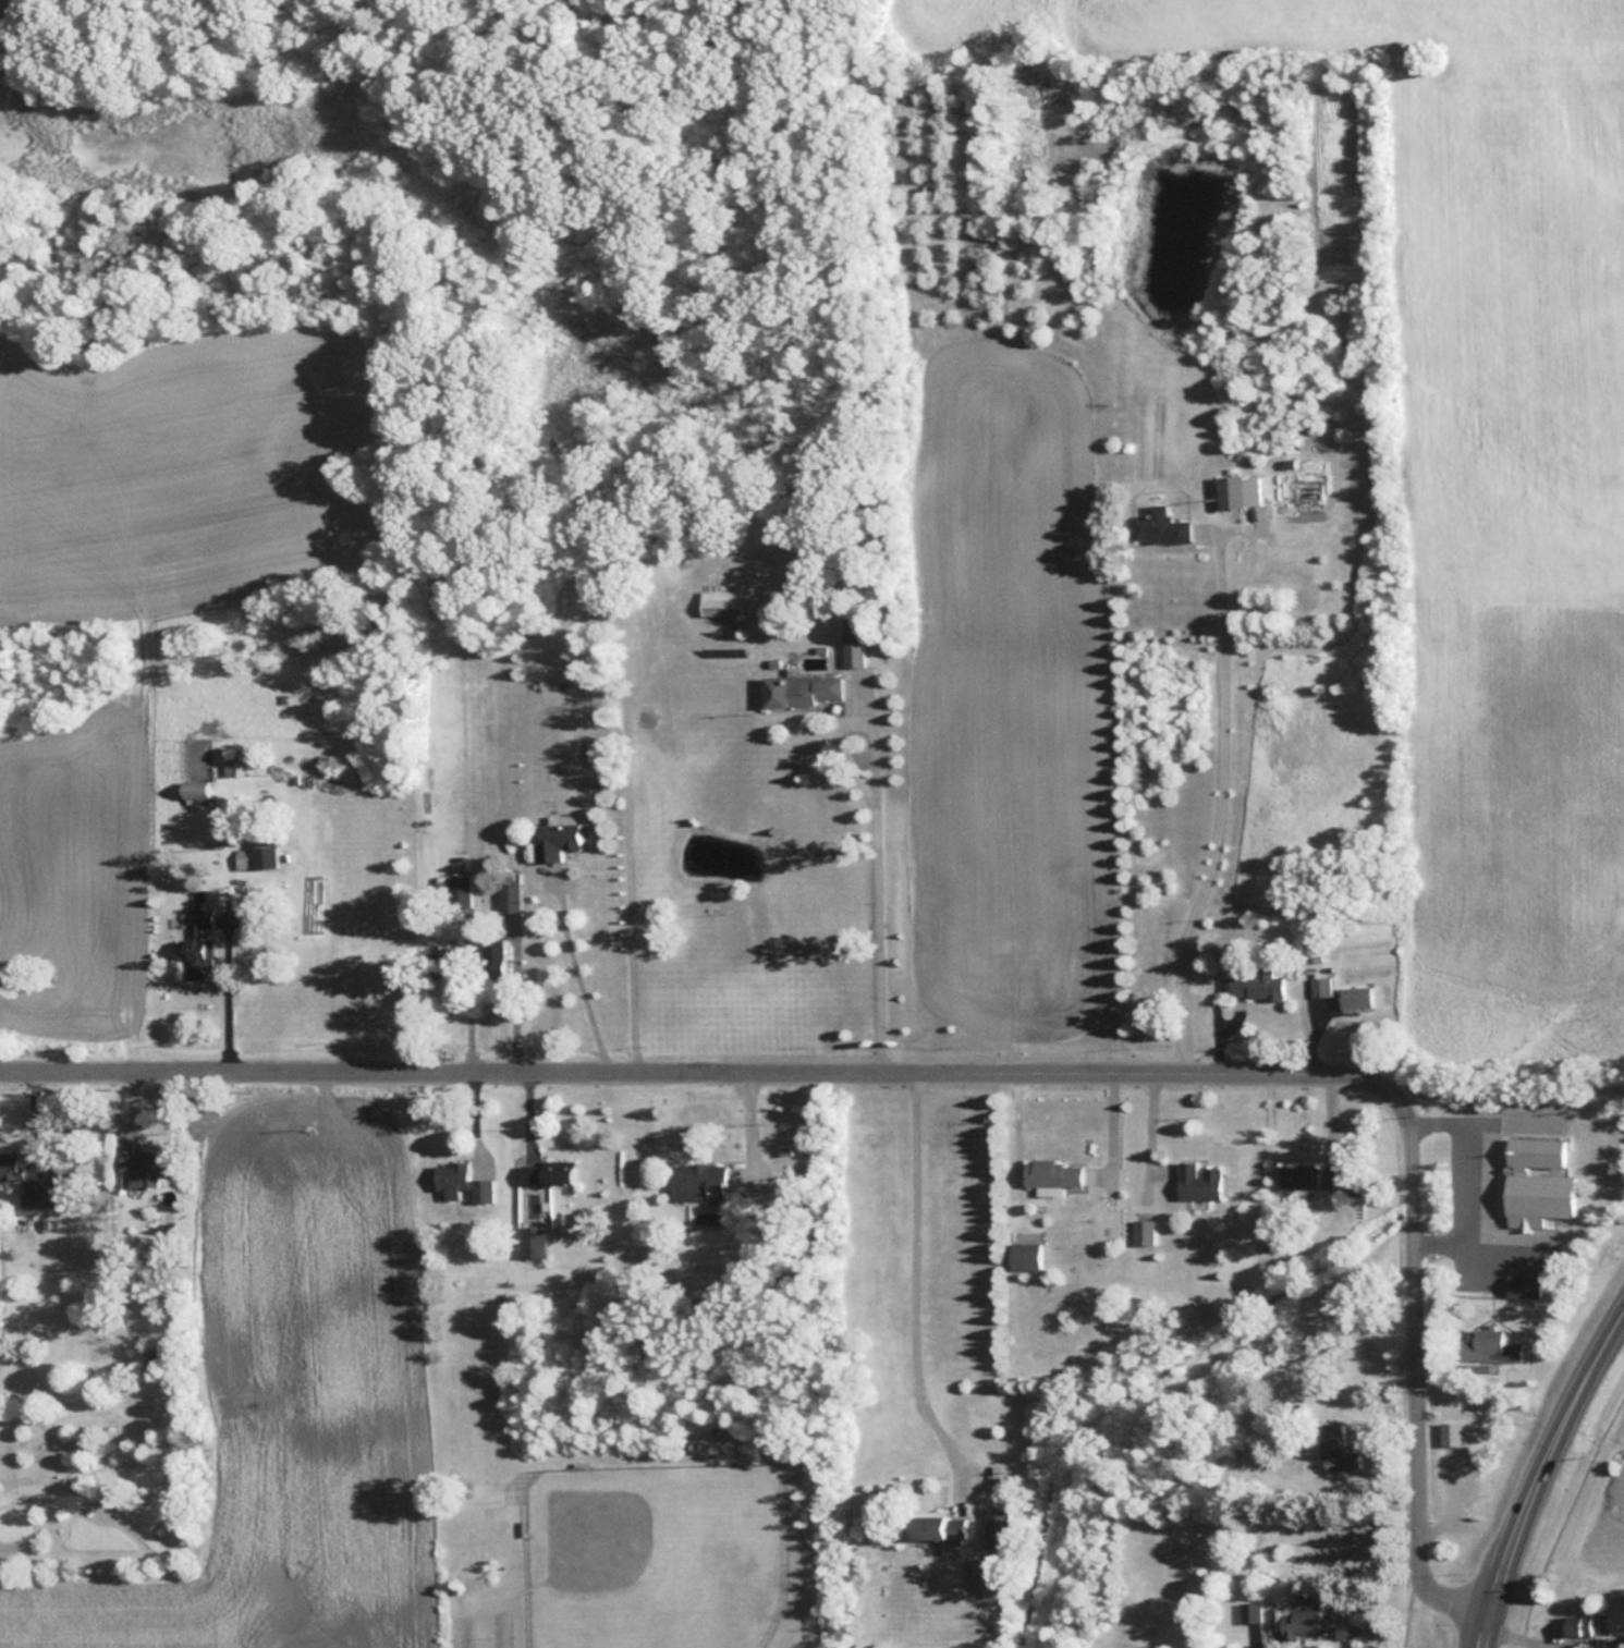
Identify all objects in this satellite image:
building: (1231, 491)
building: (1160, 525)
building: (720, 601)
building: (854, 640)
building: (801, 689)
building: (232, 769)
building: (194, 790)
building: (560, 838)
building: (256, 857)
building: (465, 898)
building: (512, 898)
building: (197, 948)
building: (497, 957)
road: (576, 968)
building: (1257, 985)
building: (1321, 987)
road: (473, 991)
road: (518, 991)
building: (1356, 998)
road: (701, 1064)
building: (11, 1163)
building: (144, 1167)
building: (544, 1172)
building: (1052, 1174)
building: (1298, 1175)
building: (1343, 1179)
building: (1537, 1179)
building: (1197, 1180)
building: (698, 1181)
building: (462, 1183)
building: (40, 1194)
building: (1144, 1230)
building: (533, 1241)
building: (1024, 1254)
building: (1522, 1284)
building: (1487, 1346)
road: (1417, 1365)
building: (1450, 1433)
building: (1338, 1448)
road: (1540, 1475)
building: (937, 1525)
building: (997, 1527)
park: (637, 1550)
building: (982, 1575)
building: (1297, 1621)
building: (1579, 1624)

